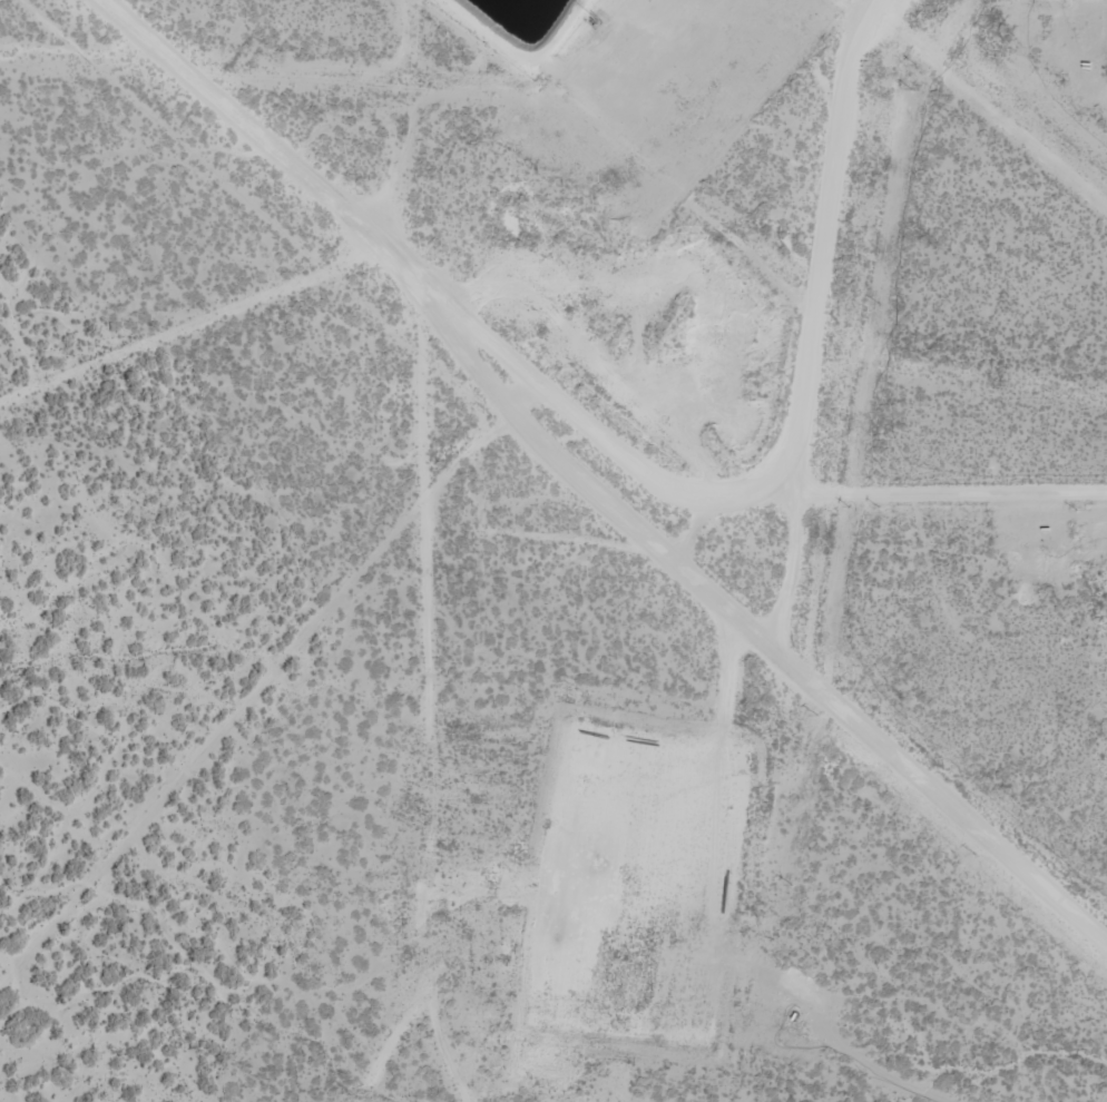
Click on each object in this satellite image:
road: (368, 437)
road: (770, 472)
road: (924, 491)
road: (735, 617)
road: (381, 994)

